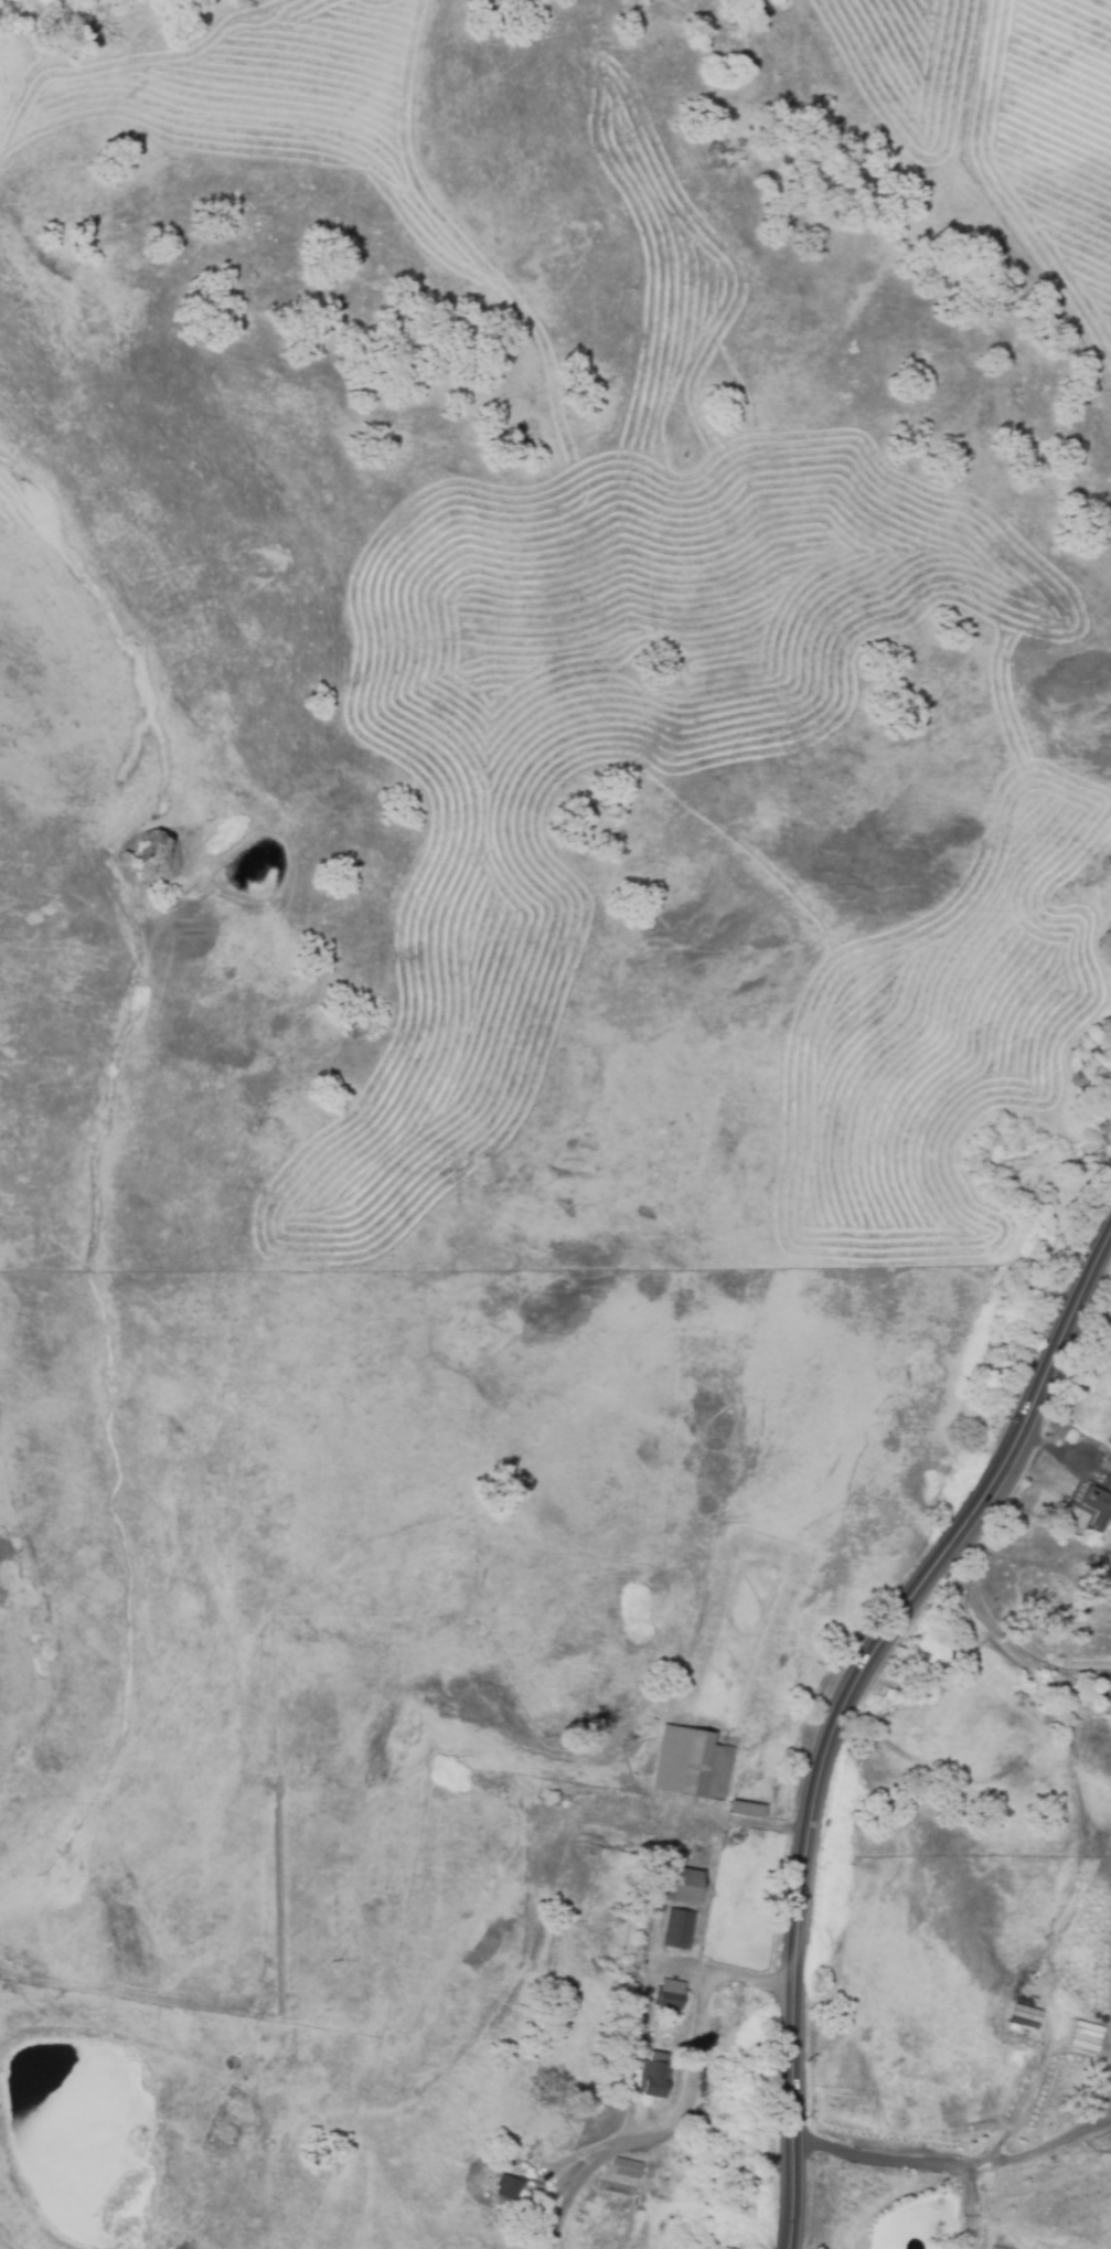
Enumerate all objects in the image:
building: (1110, 1439)
building: (1105, 1462)
building: (1097, 1505)
road: (1003, 1631)
road: (841, 1705)
building: (693, 1763)
building: (687, 1887)
building: (677, 1929)
building: (671, 1993)
building: (654, 2078)
road: (1025, 2095)
road: (690, 2108)
road: (1032, 2144)
road: (906, 2162)
building: (626, 2167)
building: (508, 2187)

